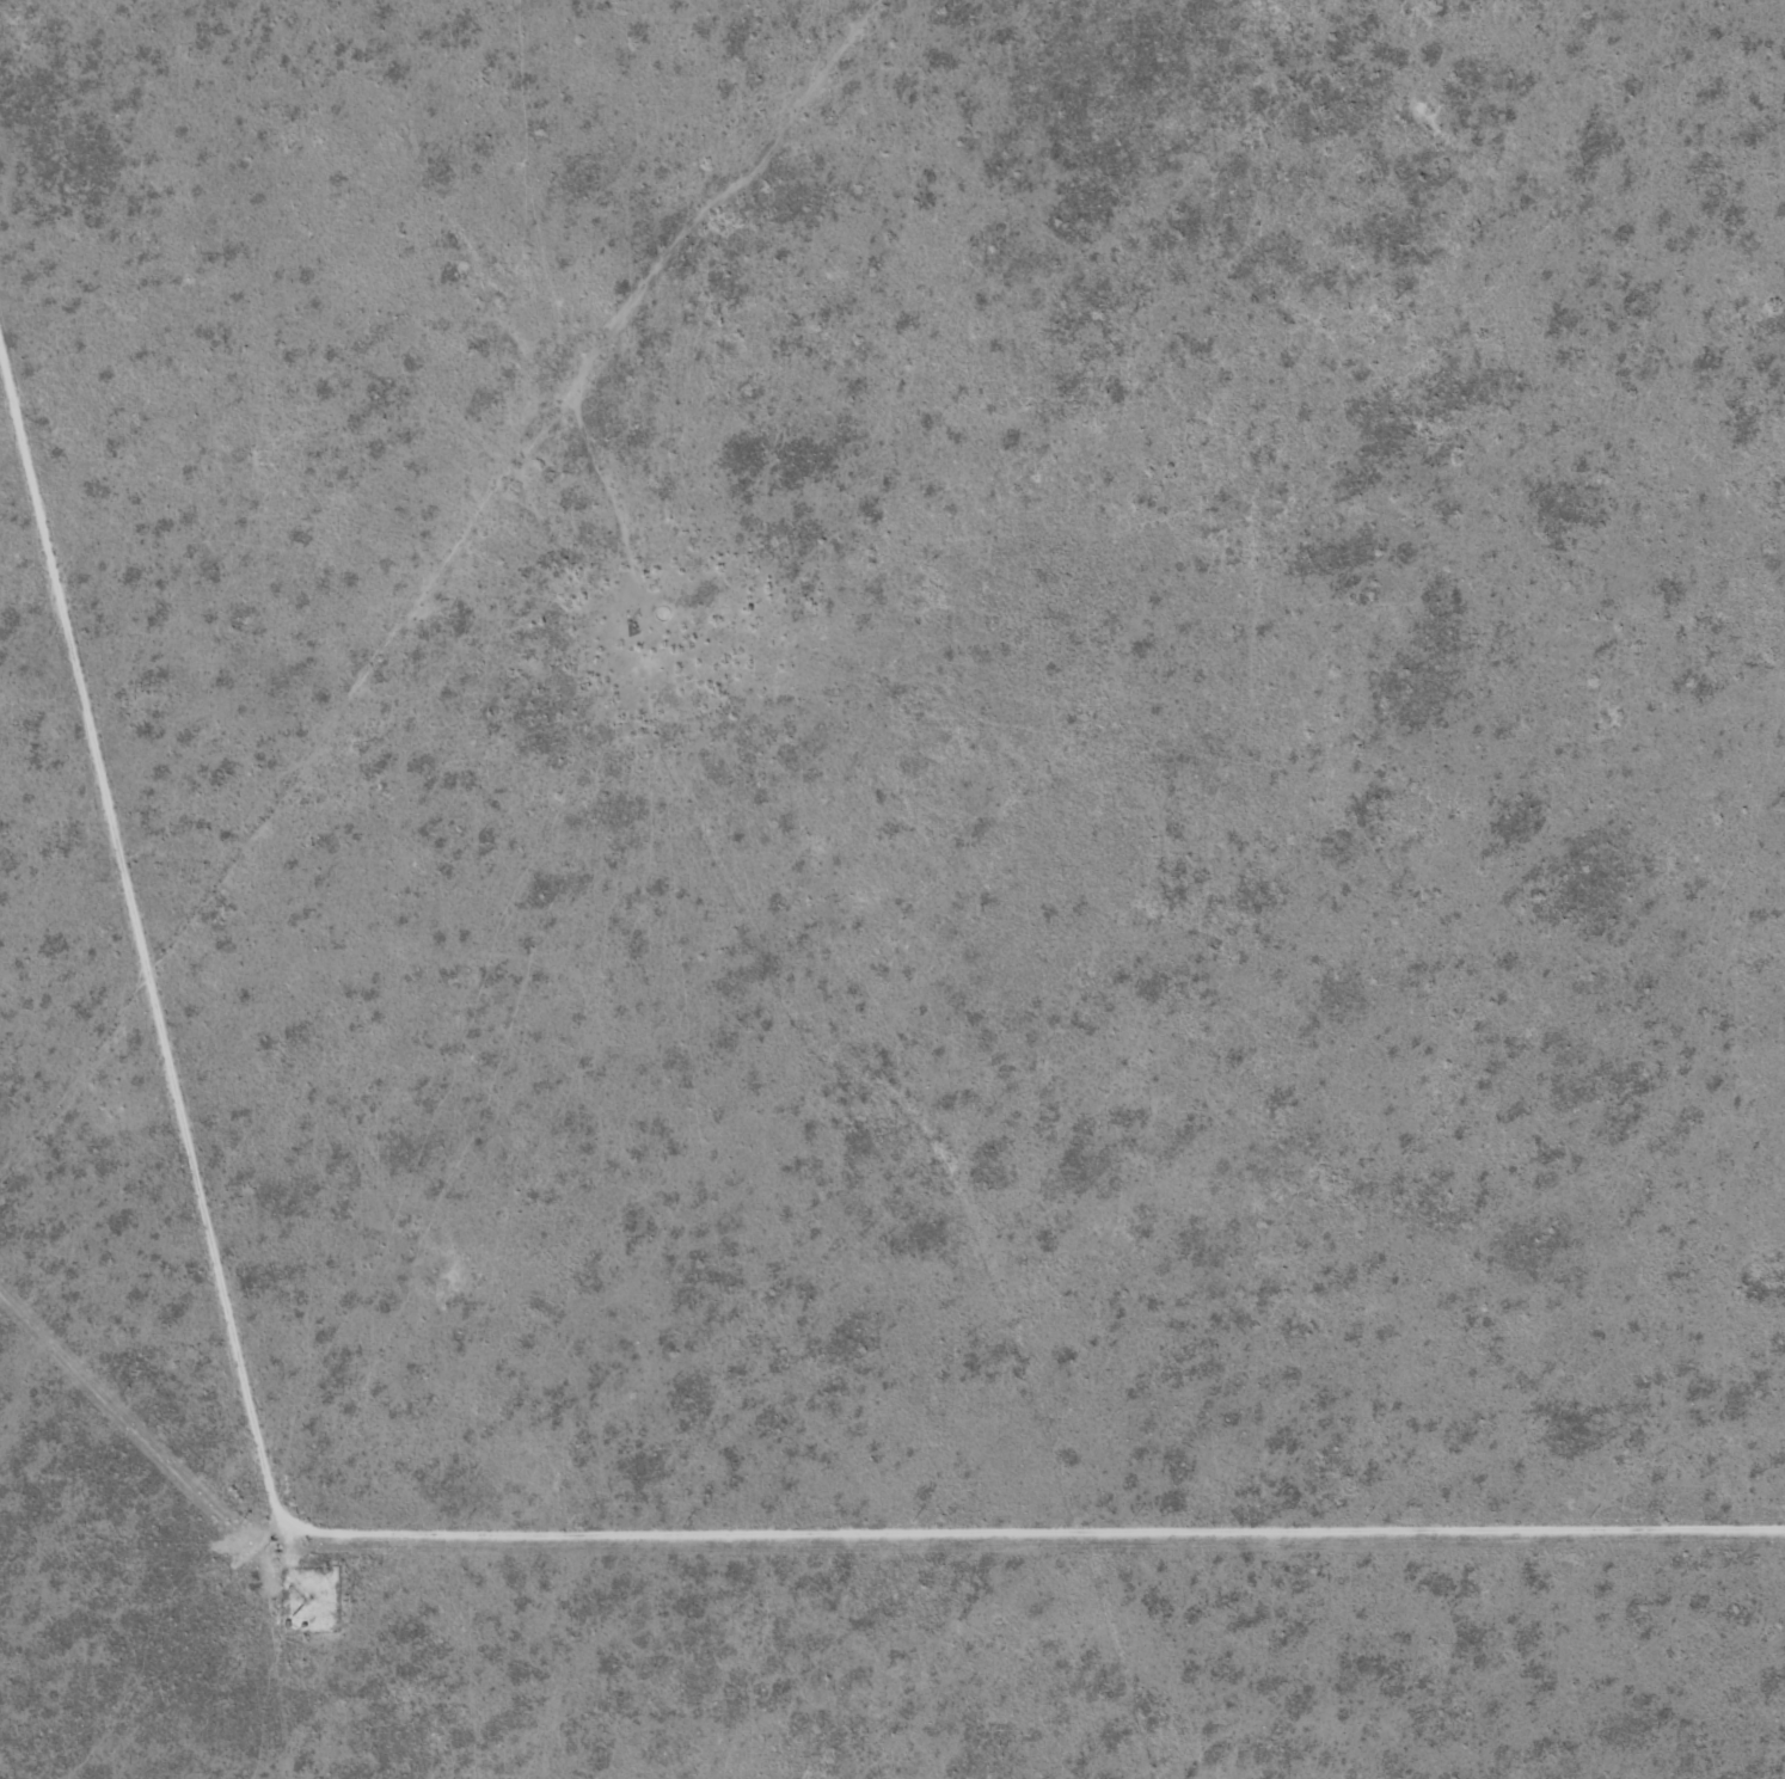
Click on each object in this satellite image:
road: (602, 295)

